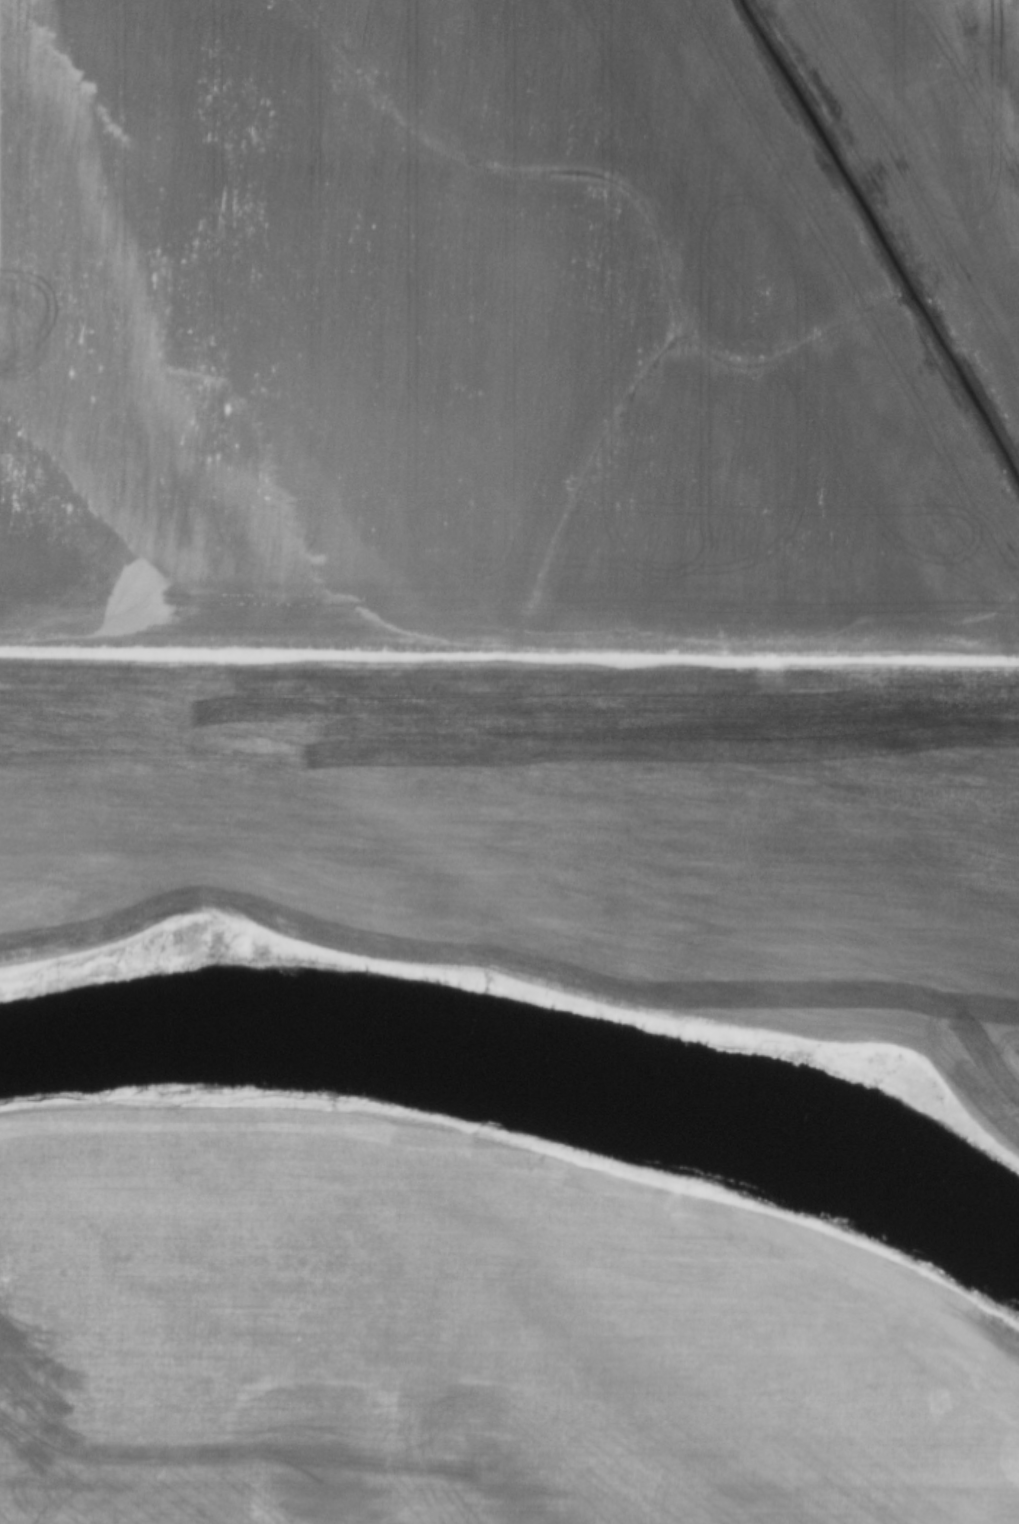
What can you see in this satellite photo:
river: (523, 1062)

